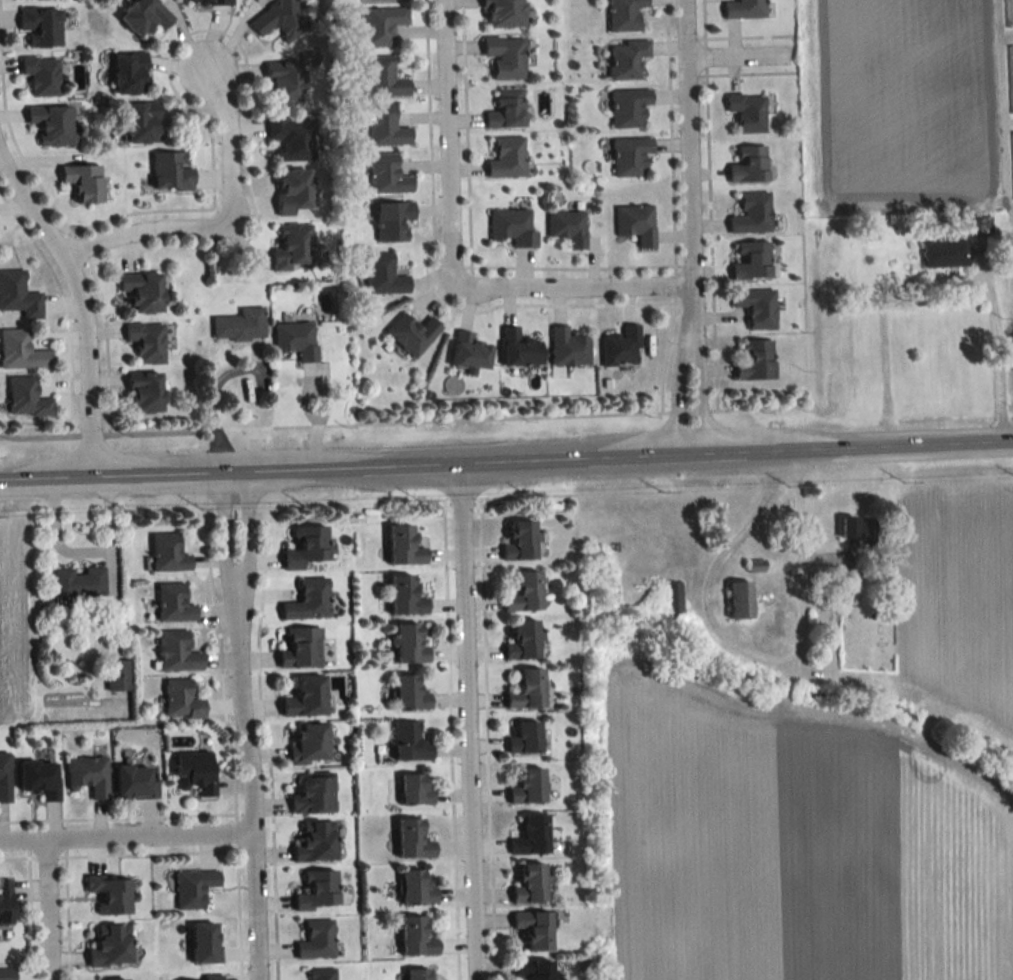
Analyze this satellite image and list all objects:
building: (206, 2)
building: (743, 9)
building: (503, 13)
building: (1008, 13)
building: (623, 14)
building: (145, 16)
building: (280, 19)
building: (381, 24)
building: (41, 25)
building: (505, 56)
road: (741, 57)
building: (626, 60)
building: (129, 73)
building: (42, 75)
building: (382, 78)
building: (1010, 78)
building: (283, 82)
crop: (907, 97)
building: (628, 107)
building: (506, 109)
building: (747, 112)
road: (999, 113)
building: (142, 122)
building: (53, 124)
building: (385, 126)
road: (444, 132)
building: (291, 136)
building: (629, 156)
building: (506, 158)
building: (748, 164)
building: (1012, 165)
building: (170, 170)
road: (687, 173)
building: (386, 175)
building: (83, 181)
building: (293, 190)
building: (751, 213)
road: (226, 219)
building: (392, 220)
building: (636, 224)
building: (511, 226)
building: (567, 227)
building: (292, 246)
building: (944, 253)
building: (750, 260)
building: (382, 274)
building: (143, 290)
road: (561, 291)
building: (18, 294)
road: (81, 302)
building: (757, 307)
building: (239, 324)
building: (411, 333)
building: (295, 339)
building: (147, 341)
road: (998, 344)
building: (519, 347)
building: (568, 347)
building: (620, 347)
road: (687, 348)
building: (21, 350)
building: (469, 351)
building: (754, 360)
building: (145, 392)
building: (27, 398)
road: (211, 407)
road: (541, 414)
road: (97, 429)
road: (506, 462)
building: (855, 527)
building: (520, 541)
building: (403, 546)
building: (306, 547)
building: (168, 553)
building: (847, 579)
road: (235, 581)
building: (78, 582)
building: (524, 593)
building: (405, 596)
crop: (961, 596)
building: (308, 600)
building: (740, 600)
building: (174, 603)
building: (523, 641)
building: (409, 644)
building: (301, 647)
road: (750, 651)
building: (177, 652)
building: (118, 675)
building: (527, 690)
building: (409, 693)
building: (306, 697)
building: (181, 700)
road: (464, 722)
building: (525, 739)
building: (410, 743)
building: (309, 745)
building: (195, 773)
building: (89, 776)
building: (5, 777)
building: (39, 778)
road: (250, 780)
building: (136, 783)
building: (528, 787)
building: (415, 790)
building: (314, 796)
road: (127, 835)
building: (532, 837)
building: (413, 841)
building: (316, 843)
crop: (794, 844)
building: (532, 885)
building: (193, 888)
building: (416, 889)
building: (318, 892)
building: (110, 894)
building: (5, 902)
road: (49, 908)
building: (535, 929)
building: (416, 937)
building: (317, 940)
building: (205, 943)
building: (111, 946)
building: (534, 969)
building: (7, 974)
building: (322, 974)
building: (418, 974)
building: (213, 977)
building: (113, 979)

